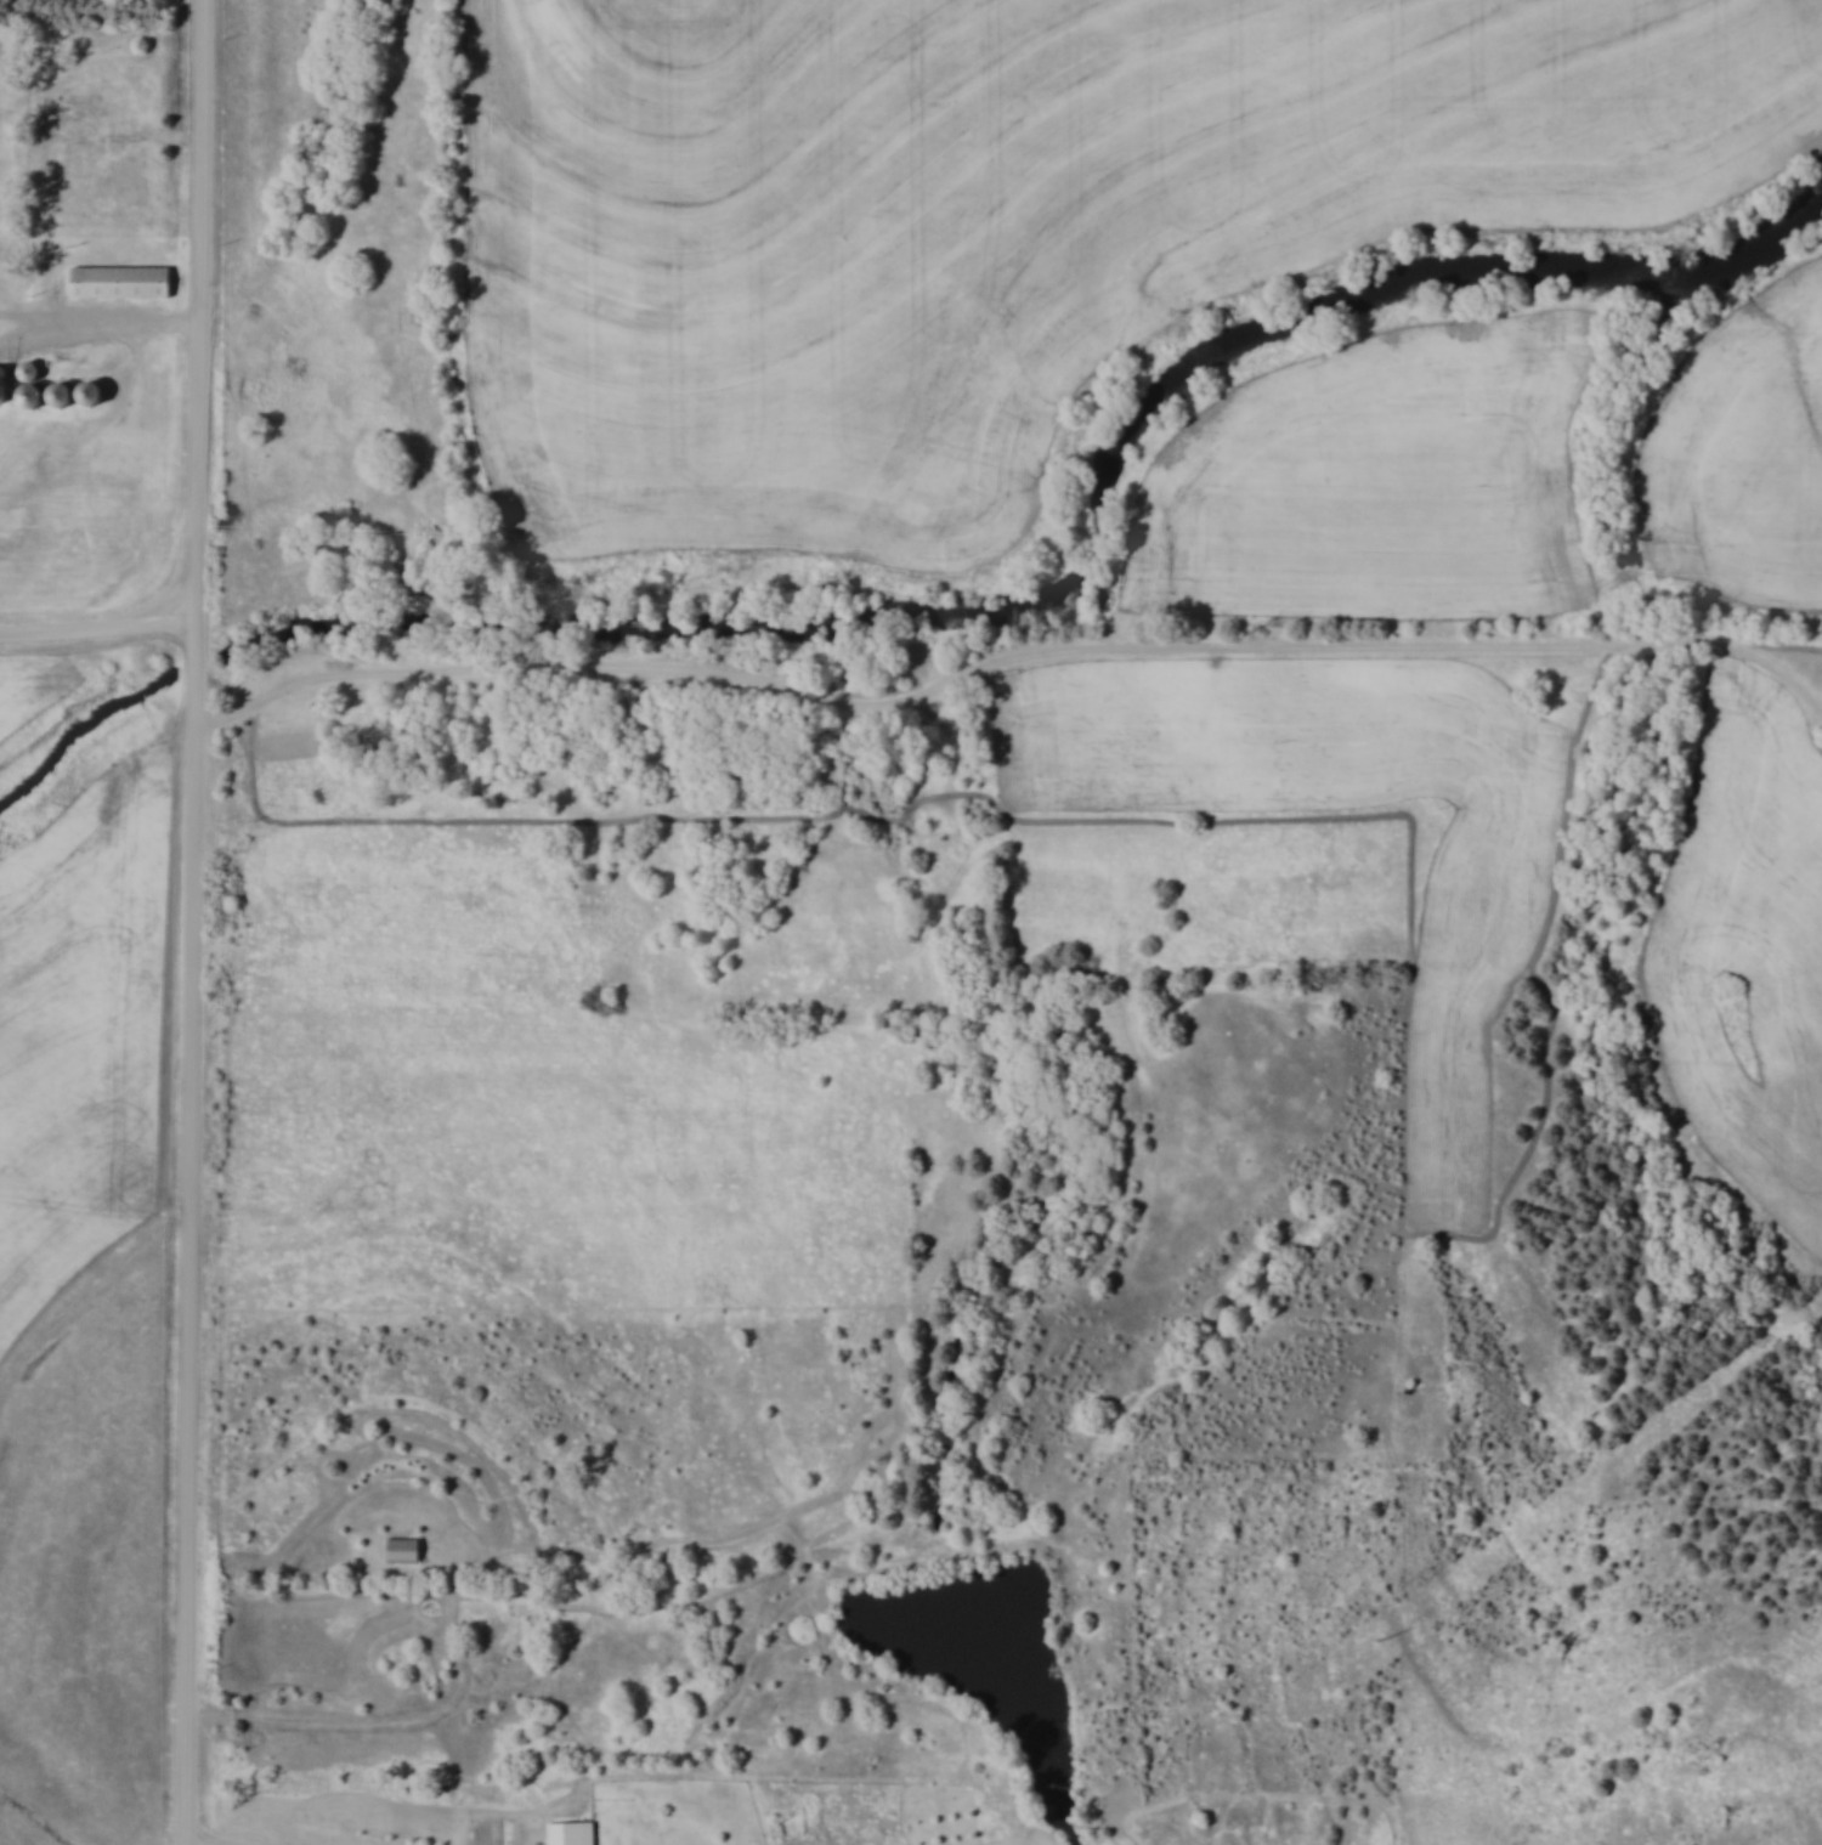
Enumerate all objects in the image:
building: (123, 282)
road: (113, 318)
building: (32, 372)
building: (5, 385)
building: (96, 395)
building: (36, 396)
building: (64, 396)
road: (100, 633)
road: (1011, 660)
road: (199, 922)
building: (404, 1550)
building: (571, 1832)
road: (208, 1844)

